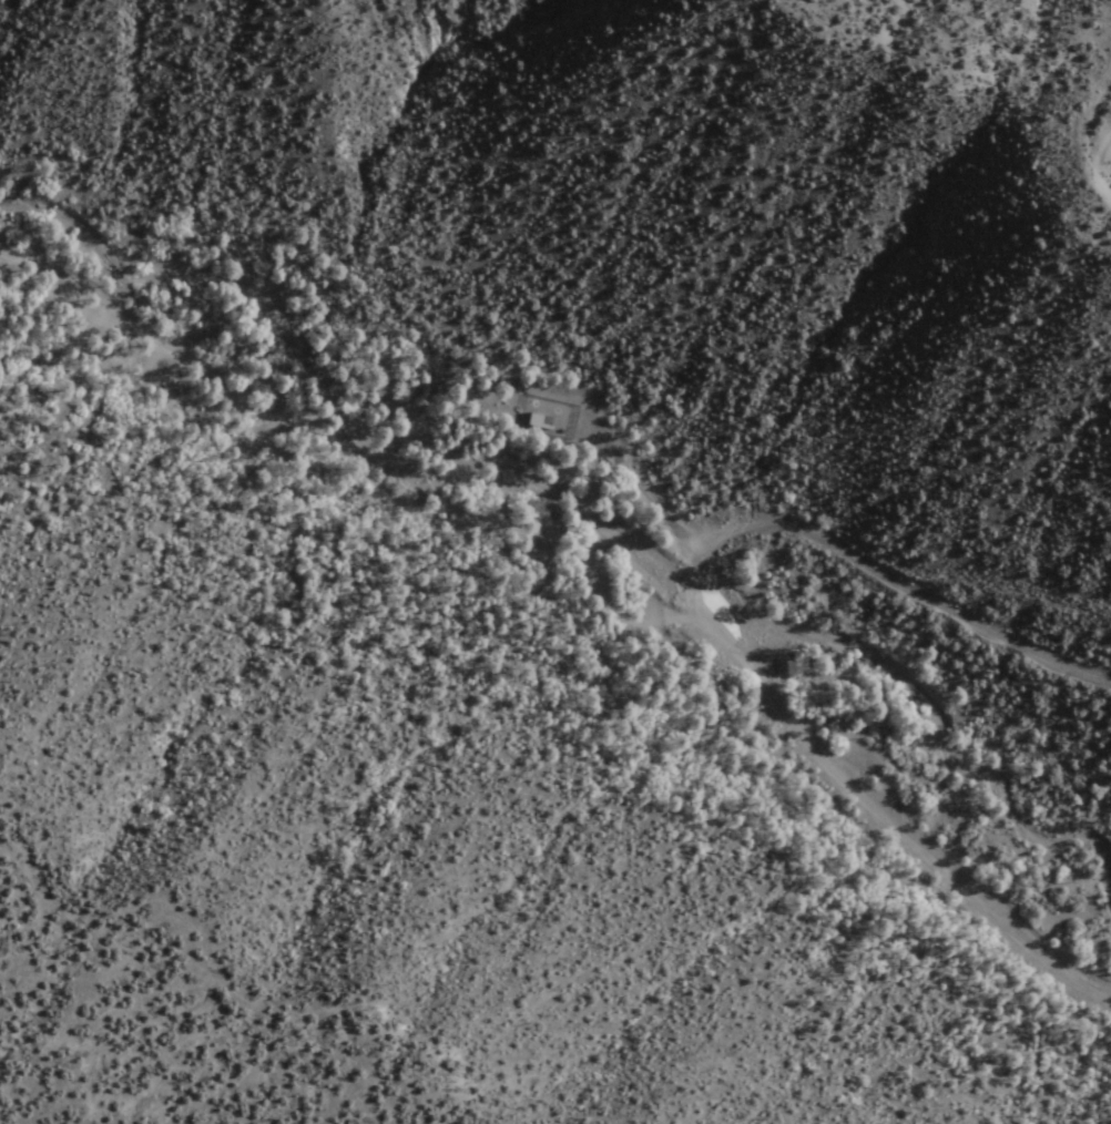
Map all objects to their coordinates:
building: (541, 422)
road: (353, 462)
road: (692, 576)
road: (907, 587)
road: (889, 822)

